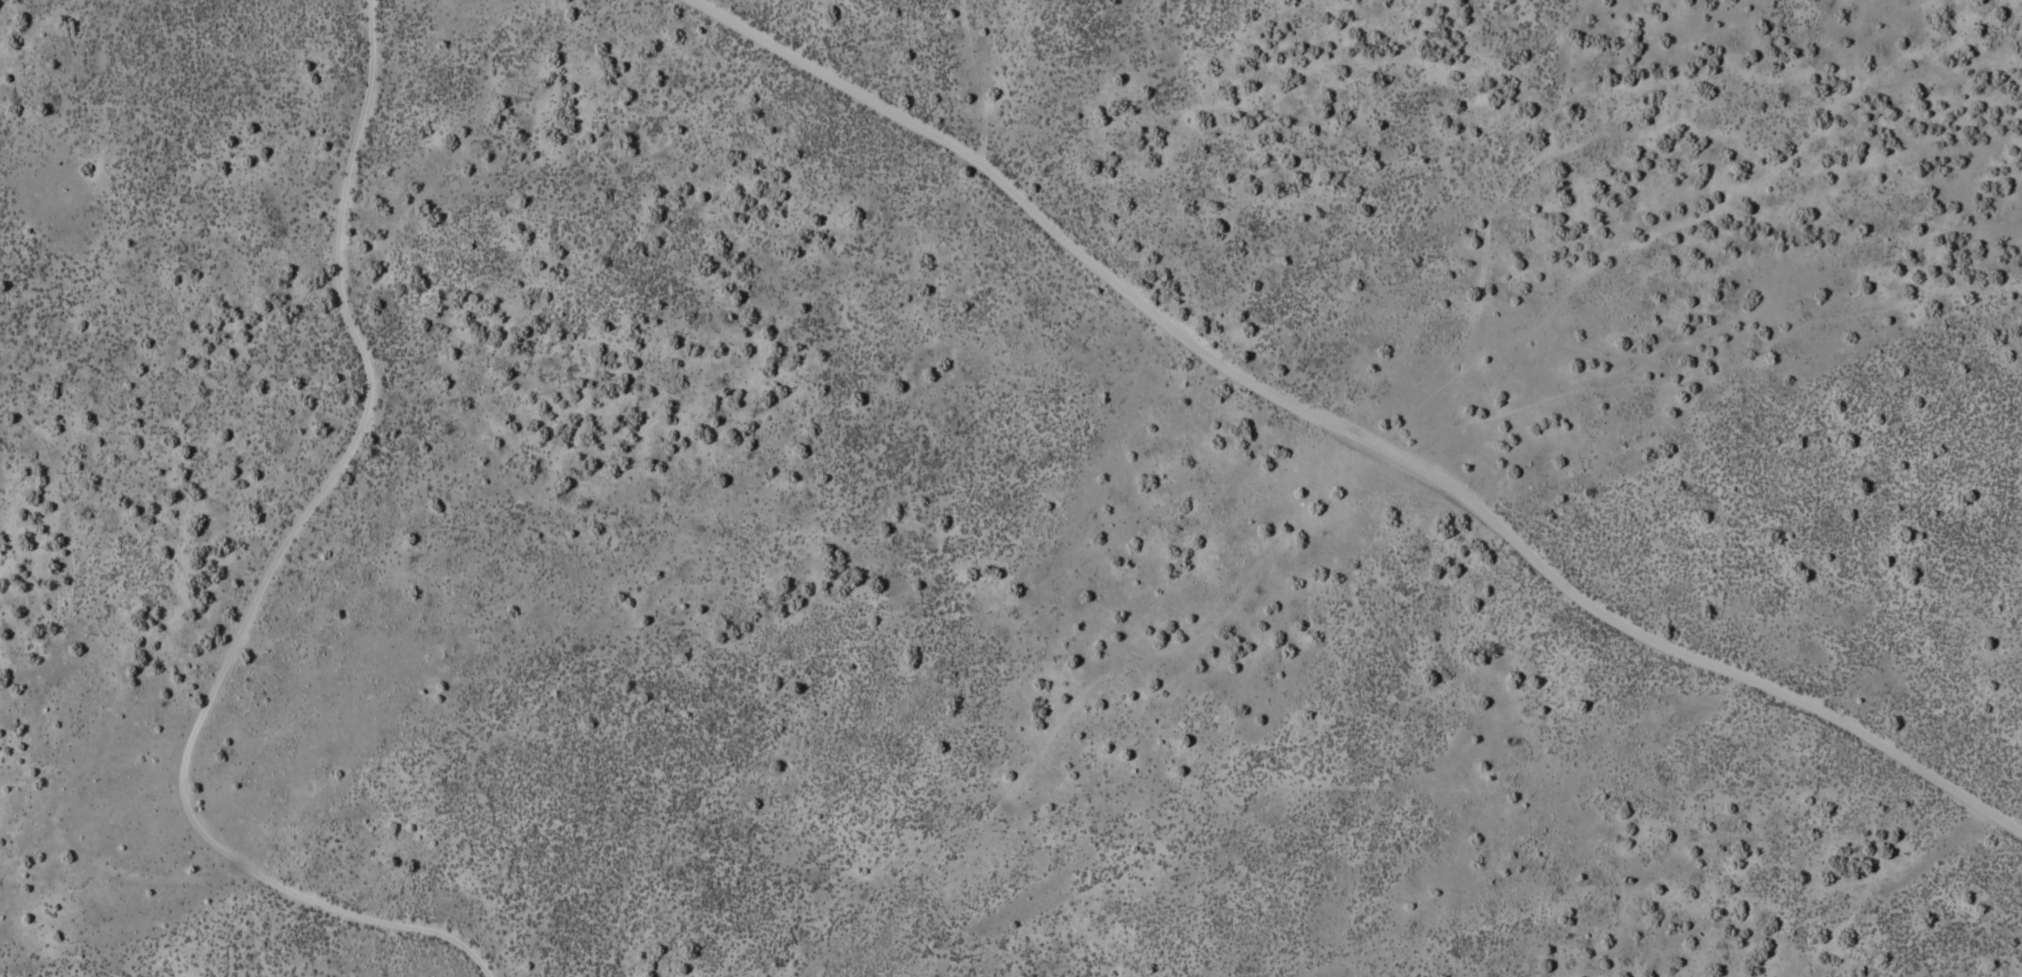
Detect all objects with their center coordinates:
road: (1344, 437)
road: (235, 652)

